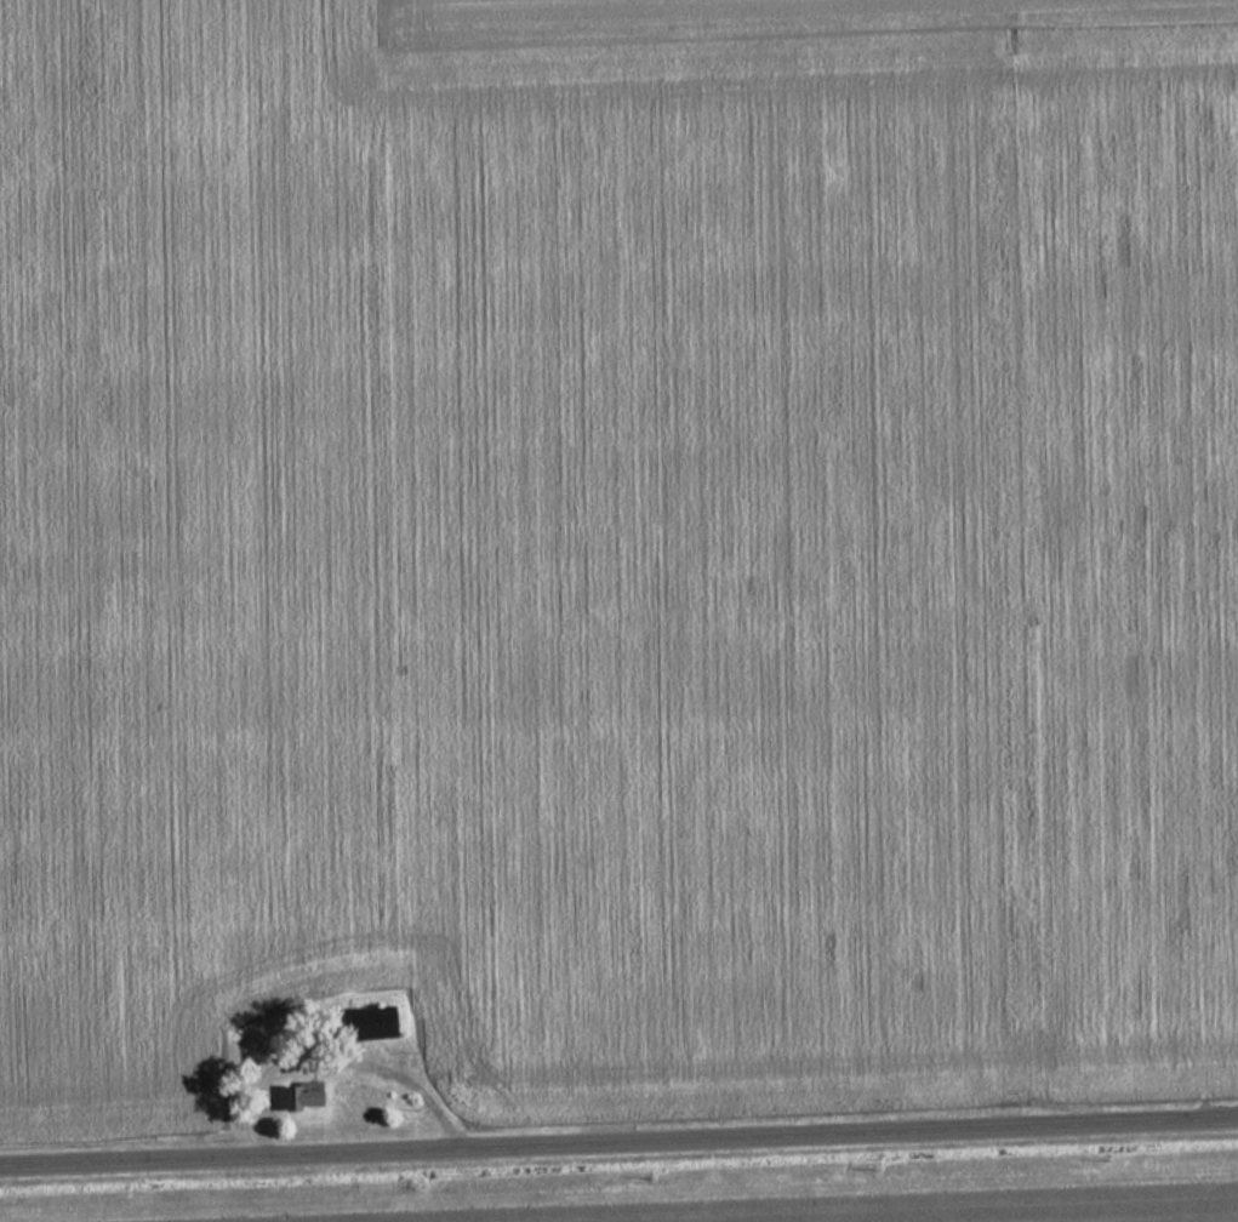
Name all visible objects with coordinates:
crop: (193, 542)
crop: (818, 552)
building: (302, 1095)
road: (618, 1147)
crop: (895, 1206)

